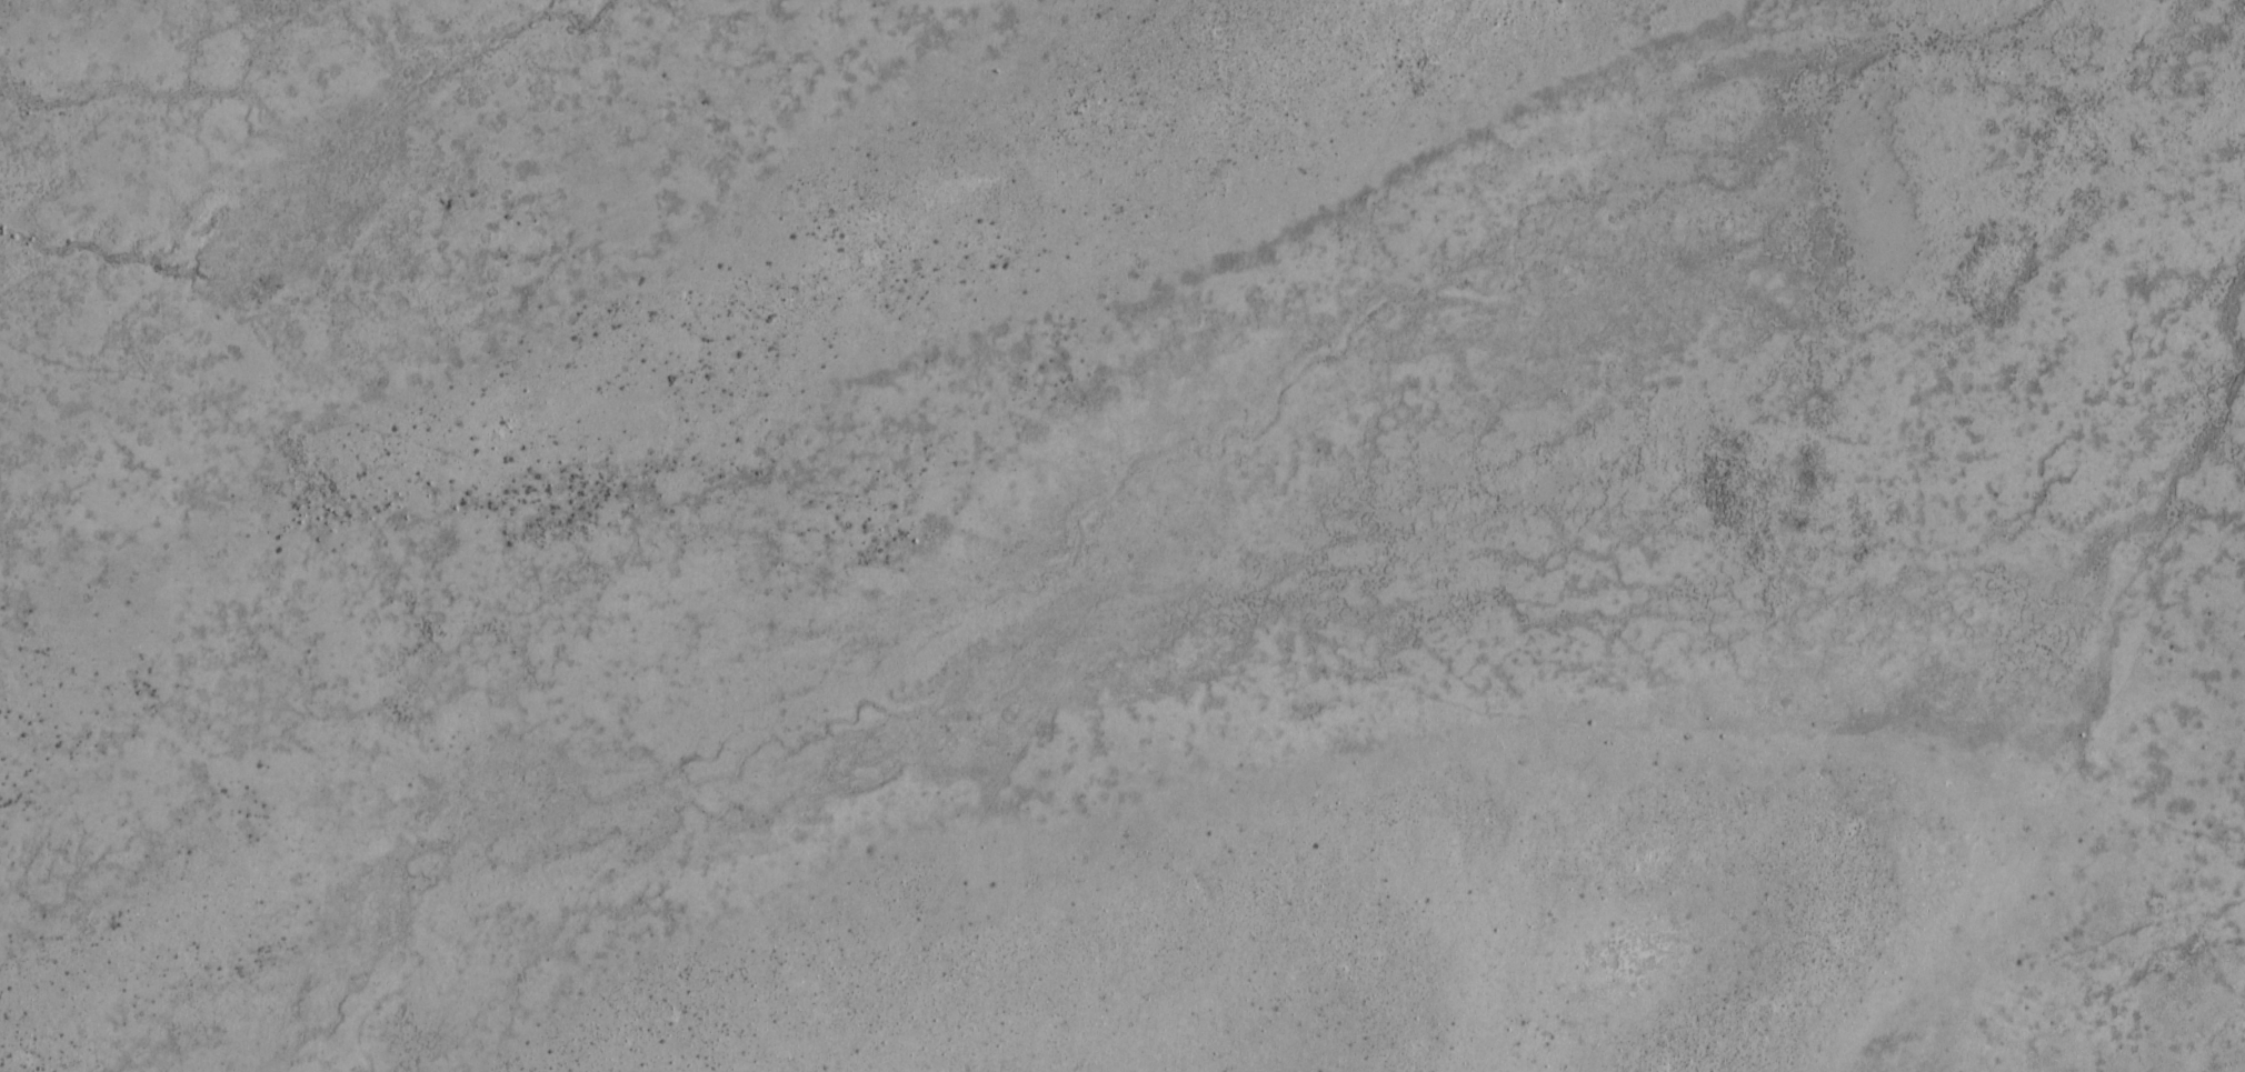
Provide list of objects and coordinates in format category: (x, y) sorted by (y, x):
river: (1267, 460)

